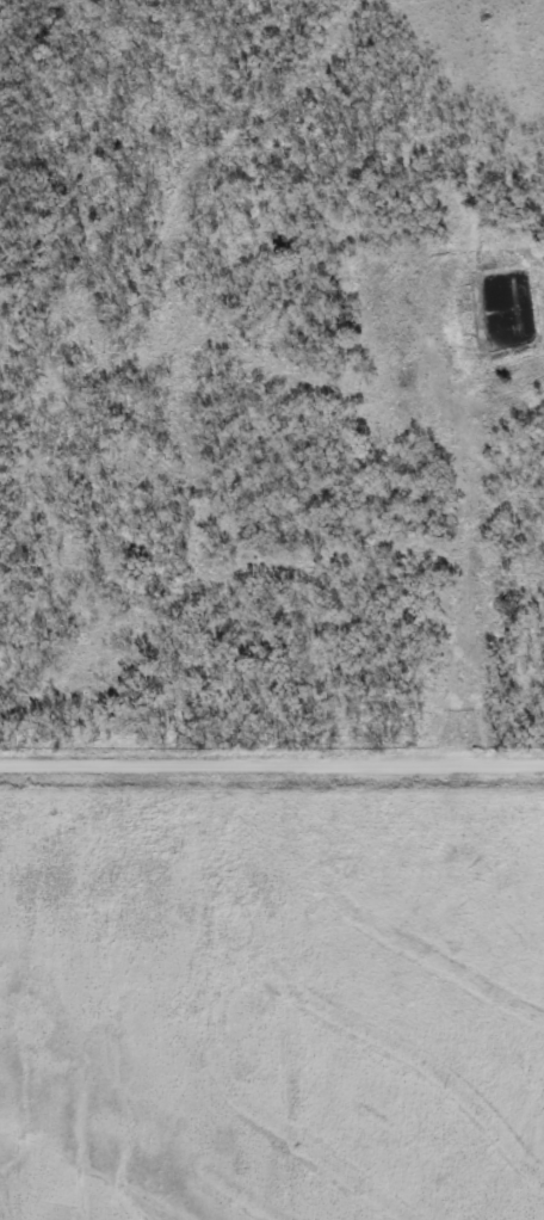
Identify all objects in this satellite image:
road: (272, 763)

